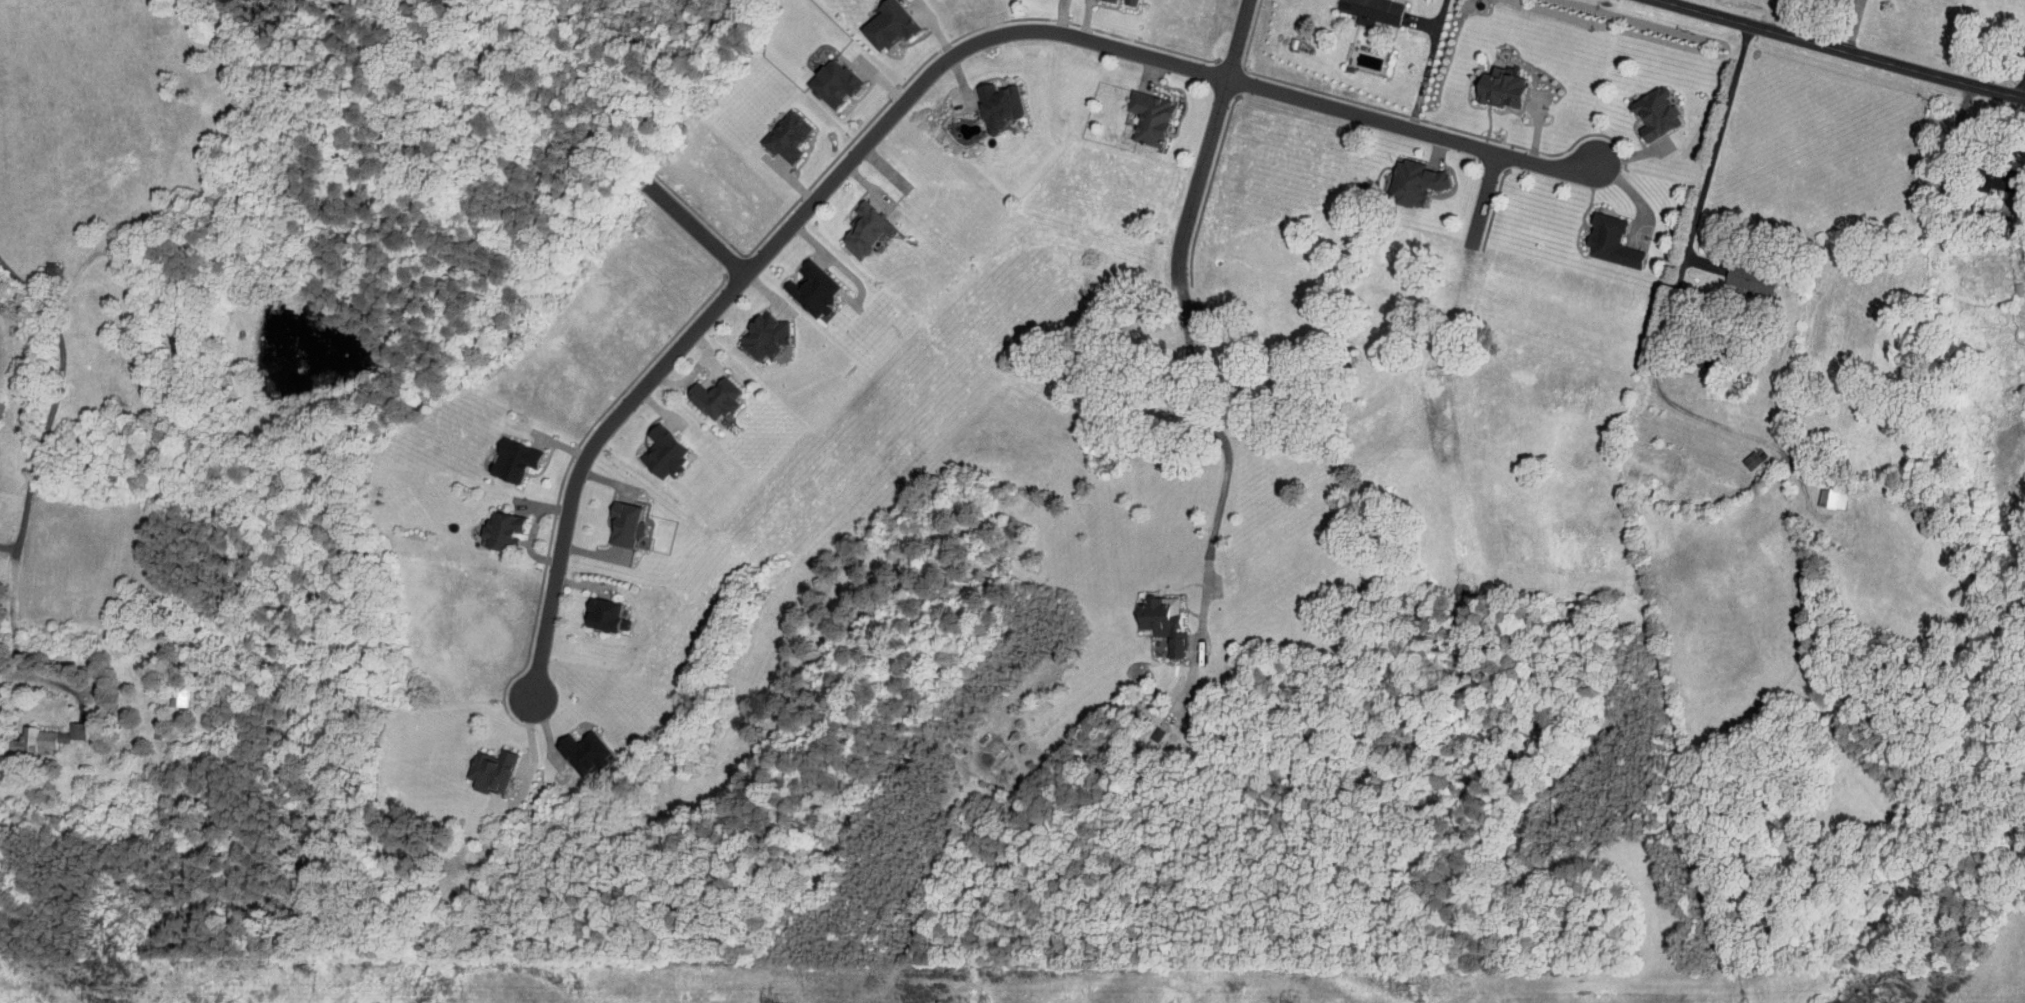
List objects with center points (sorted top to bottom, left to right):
building: (1360, 8)
road: (1768, 15)
building: (873, 20)
road: (1838, 50)
road: (1426, 64)
building: (817, 76)
building: (1484, 82)
road: (2021, 87)
building: (983, 97)
road: (908, 98)
building: (1640, 106)
building: (1135, 110)
building: (772, 130)
road: (1207, 142)
road: (1947, 147)
road: (1711, 158)
building: (1398, 175)
road: (1481, 199)
building: (851, 223)
road: (694, 227)
building: (1596, 235)
building: (1735, 274)
building: (798, 282)
road: (37, 300)
building: (749, 330)
building: (700, 391)
building: (647, 447)
building: (498, 454)
road: (1226, 459)
building: (611, 518)
building: (487, 524)
road: (20, 538)
building: (589, 609)
building: (1148, 616)
building: (166, 691)
building: (35, 732)
building: (569, 747)
building: (475, 765)

